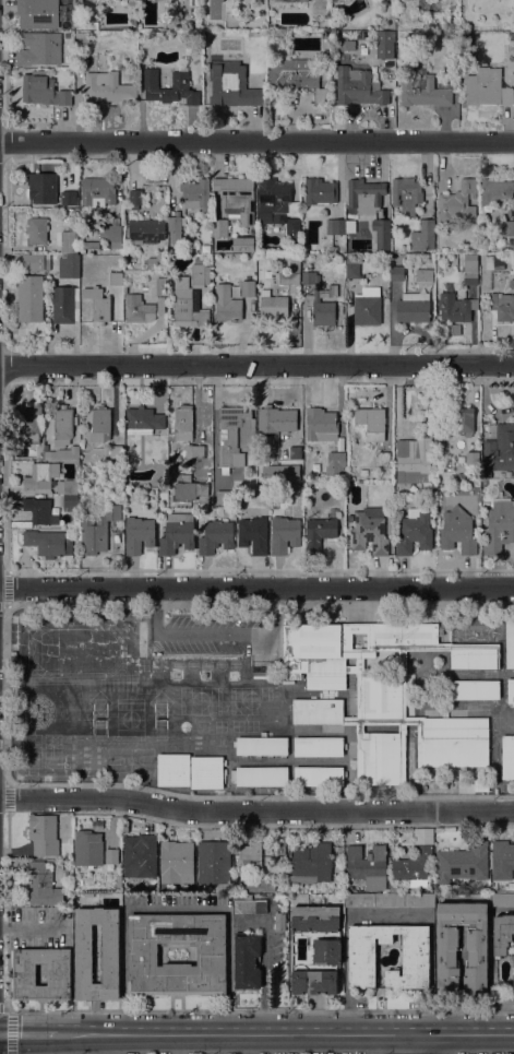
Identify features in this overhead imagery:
building: (288, 0)
building: (133, 4)
building: (38, 13)
building: (338, 23)
building: (82, 40)
building: (385, 44)
building: (39, 48)
building: (84, 58)
building: (71, 71)
building: (386, 72)
building: (298, 76)
building: (232, 85)
building: (107, 87)
building: (358, 87)
building: (487, 87)
building: (170, 88)
building: (425, 88)
building: (43, 90)
road: (256, 141)
building: (43, 187)
building: (495, 190)
building: (320, 191)
building: (98, 192)
building: (196, 194)
building: (406, 194)
building: (364, 196)
building: (69, 198)
building: (237, 198)
building: (134, 199)
building: (457, 203)
building: (277, 205)
building: (175, 222)
building: (335, 226)
building: (350, 226)
building: (220, 227)
building: (146, 229)
building: (37, 230)
building: (510, 230)
building: (381, 233)
building: (423, 235)
building: (111, 236)
building: (92, 245)
building: (243, 245)
building: (193, 249)
building: (68, 253)
building: (512, 258)
building: (156, 260)
building: (494, 262)
building: (33, 263)
building: (128, 264)
building: (352, 269)
building: (470, 269)
building: (162, 272)
building: (116, 273)
building: (291, 273)
building: (397, 273)
building: (201, 274)
building: (425, 276)
building: (512, 283)
building: (160, 286)
building: (144, 288)
building: (248, 288)
building: (31, 298)
building: (318, 298)
building: (227, 304)
building: (63, 305)
building: (187, 305)
building: (98, 306)
building: (272, 306)
building: (503, 306)
building: (368, 307)
building: (414, 308)
building: (139, 309)
building: (455, 310)
road: (256, 366)
building: (183, 418)
building: (267, 418)
building: (464, 419)
building: (143, 421)
building: (372, 422)
building: (430, 422)
building: (100, 424)
building: (321, 425)
building: (28, 426)
building: (63, 426)
building: (234, 436)
building: (500, 449)
building: (198, 451)
building: (65, 453)
building: (116, 455)
building: (279, 458)
building: (473, 458)
building: (414, 459)
building: (383, 460)
building: (462, 460)
building: (335, 463)
building: (308, 464)
building: (363, 472)
building: (373, 473)
building: (487, 474)
building: (41, 475)
building: (513, 476)
building: (68, 487)
building: (417, 488)
building: (189, 489)
building: (491, 490)
building: (261, 494)
building: (223, 497)
building: (70, 504)
building: (274, 505)
building: (41, 511)
building: (350, 518)
building: (499, 526)
building: (97, 530)
building: (320, 531)
building: (370, 531)
building: (457, 531)
building: (414, 532)
building: (177, 533)
building: (253, 534)
building: (285, 534)
building: (138, 535)
building: (216, 536)
building: (46, 542)
road: (256, 589)
road: (211, 636)
building: (510, 642)
building: (342, 648)
track: (76, 652)
building: (475, 656)
building: (359, 661)
building: (474, 689)
building: (511, 691)
building: (381, 696)
building: (318, 711)
road: (383, 721)
road: (360, 727)
road: (401, 727)
building: (455, 742)
building: (261, 745)
building: (319, 746)
road: (383, 750)
building: (507, 758)
building: (379, 759)
building: (174, 770)
building: (206, 772)
building: (319, 775)
building: (262, 777)
building: (481, 785)
road: (255, 812)
building: (44, 834)
building: (280, 848)
building: (88, 851)
building: (140, 855)
building: (249, 855)
building: (111, 856)
building: (502, 860)
building: (176, 862)
building: (214, 862)
building: (463, 863)
building: (310, 864)
building: (368, 866)
building: (414, 866)
building: (43, 884)
building: (259, 885)
building: (394, 889)
building: (390, 900)
building: (502, 900)
building: (249, 907)
road: (175, 909)
building: (315, 919)
building: (279, 921)
building: (502, 934)
building: (301, 950)
building: (327, 951)
building: (84, 954)
building: (143, 954)
building: (478, 955)
building: (416, 957)
building: (247, 962)
road: (266, 963)
building: (24, 974)
building: (313, 982)
road: (28, 1035)
road: (285, 1035)
road: (111, 1044)
road: (178, 1044)
road: (411, 1044)

